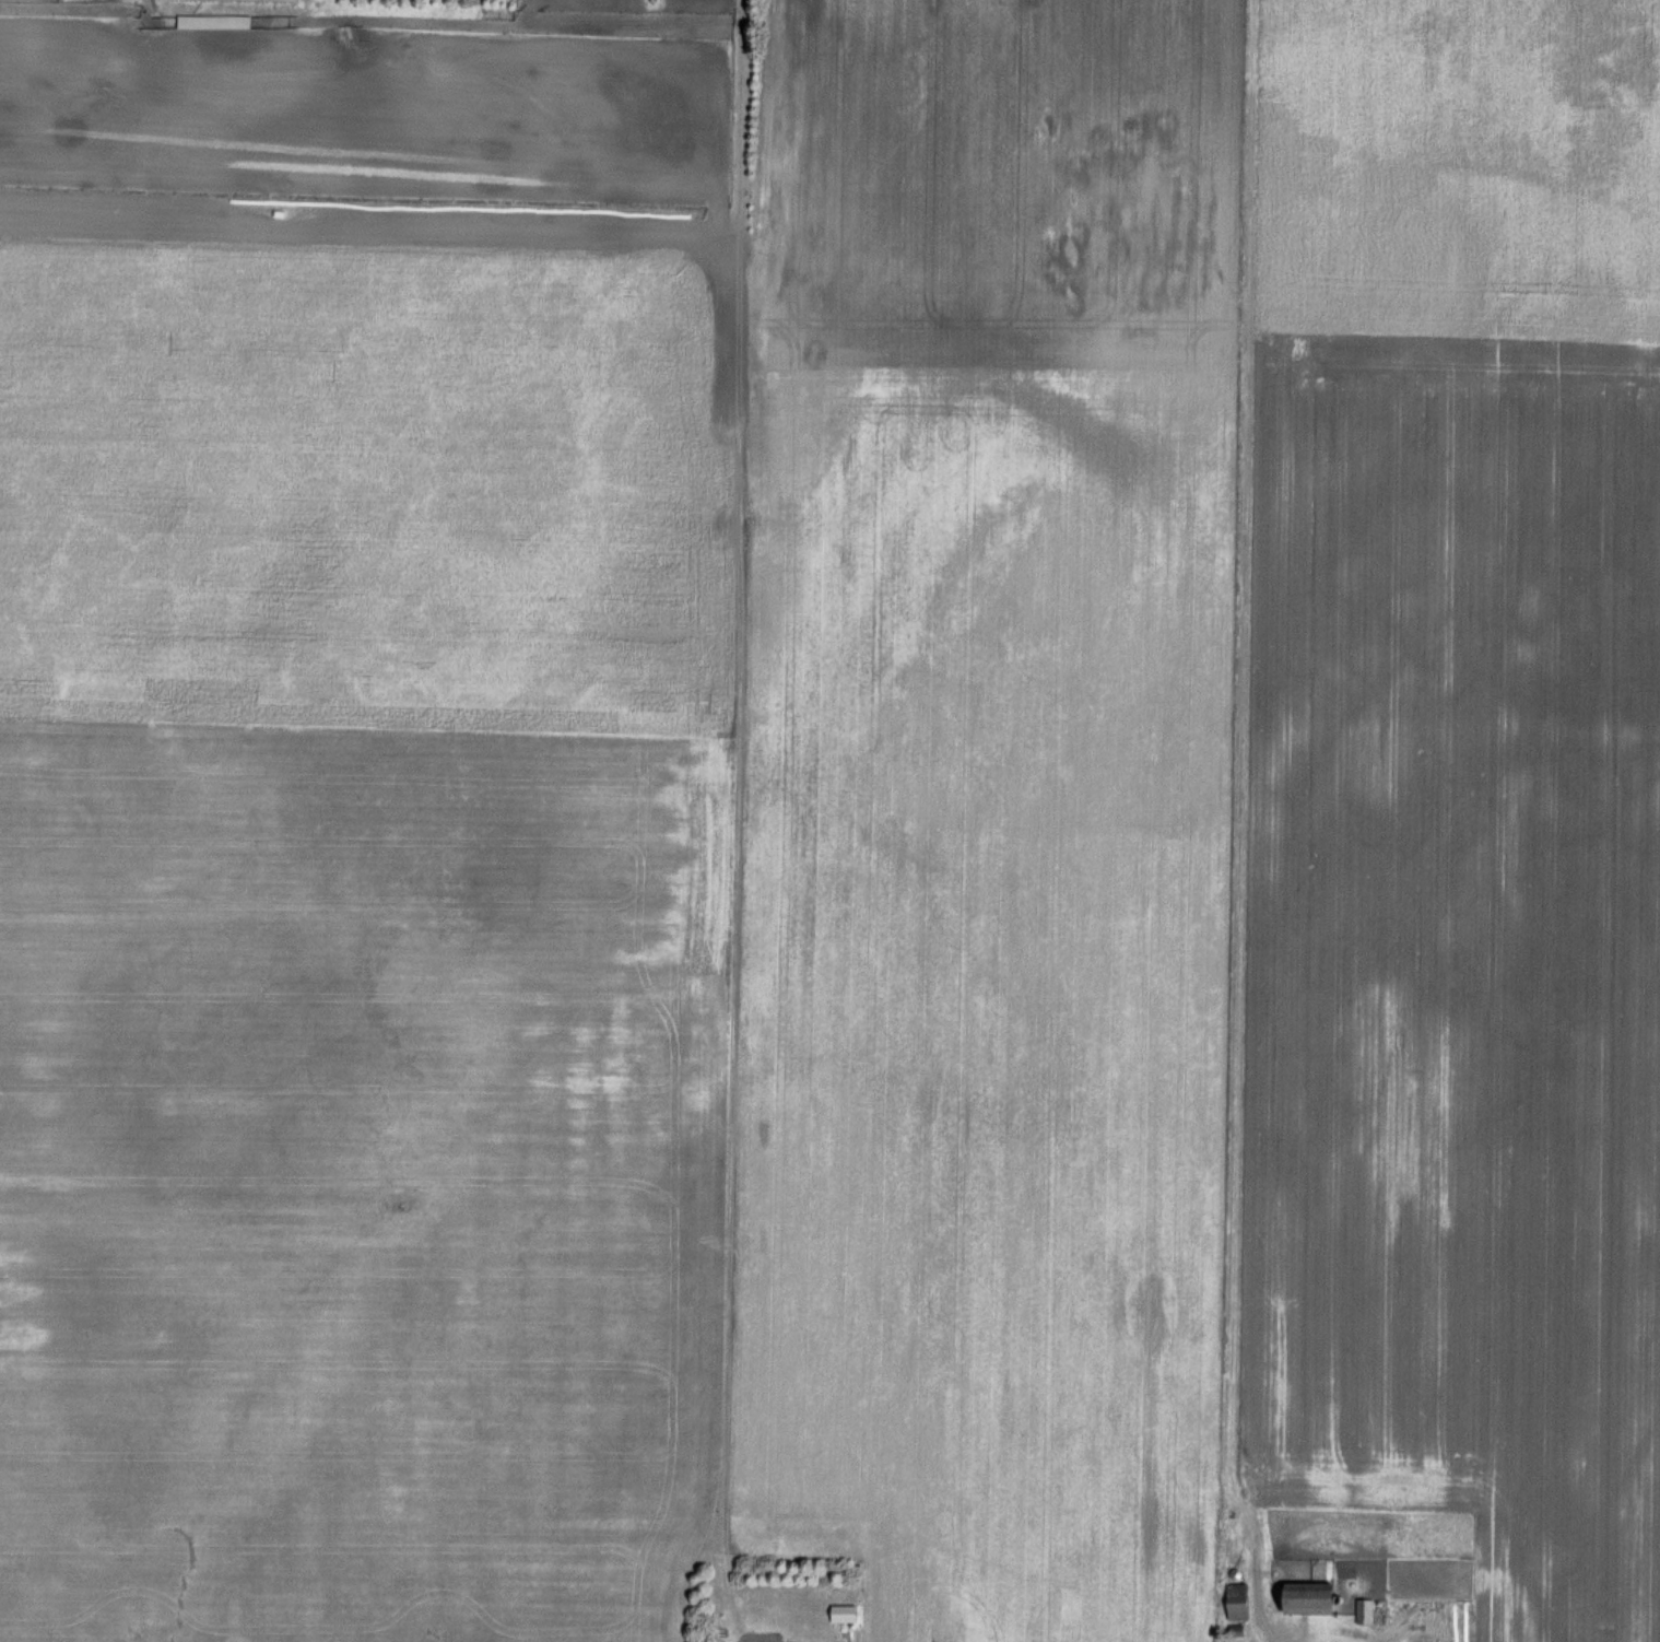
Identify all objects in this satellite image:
building: (1319, 1597)
building: (1240, 1600)
building: (1367, 1610)
building: (848, 1612)
road: (1294, 1640)

